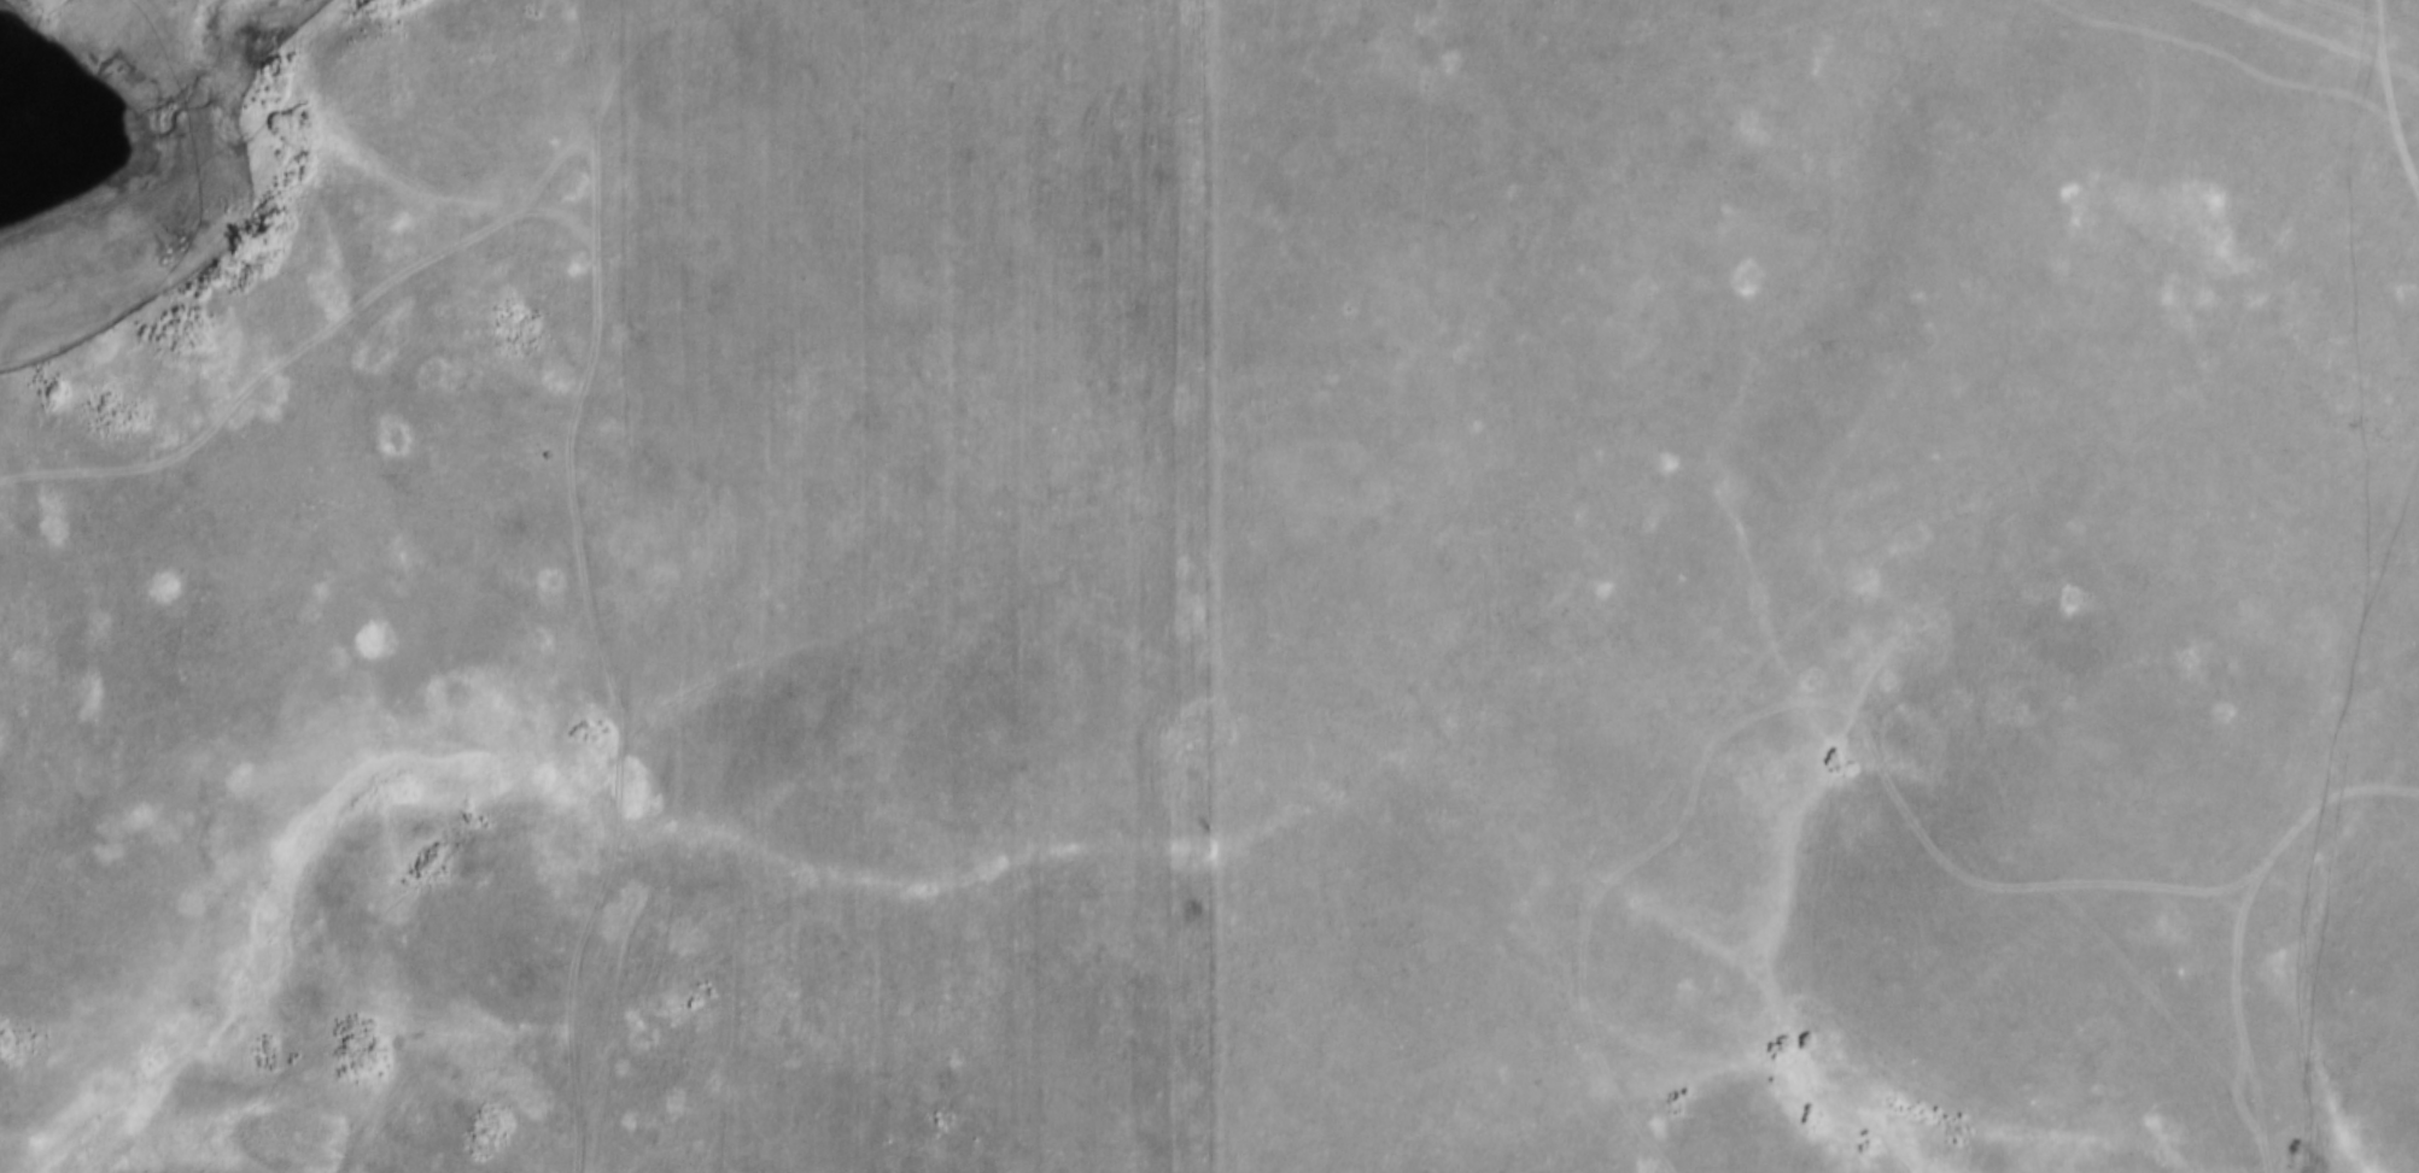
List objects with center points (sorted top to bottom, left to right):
road: (594, 587)

